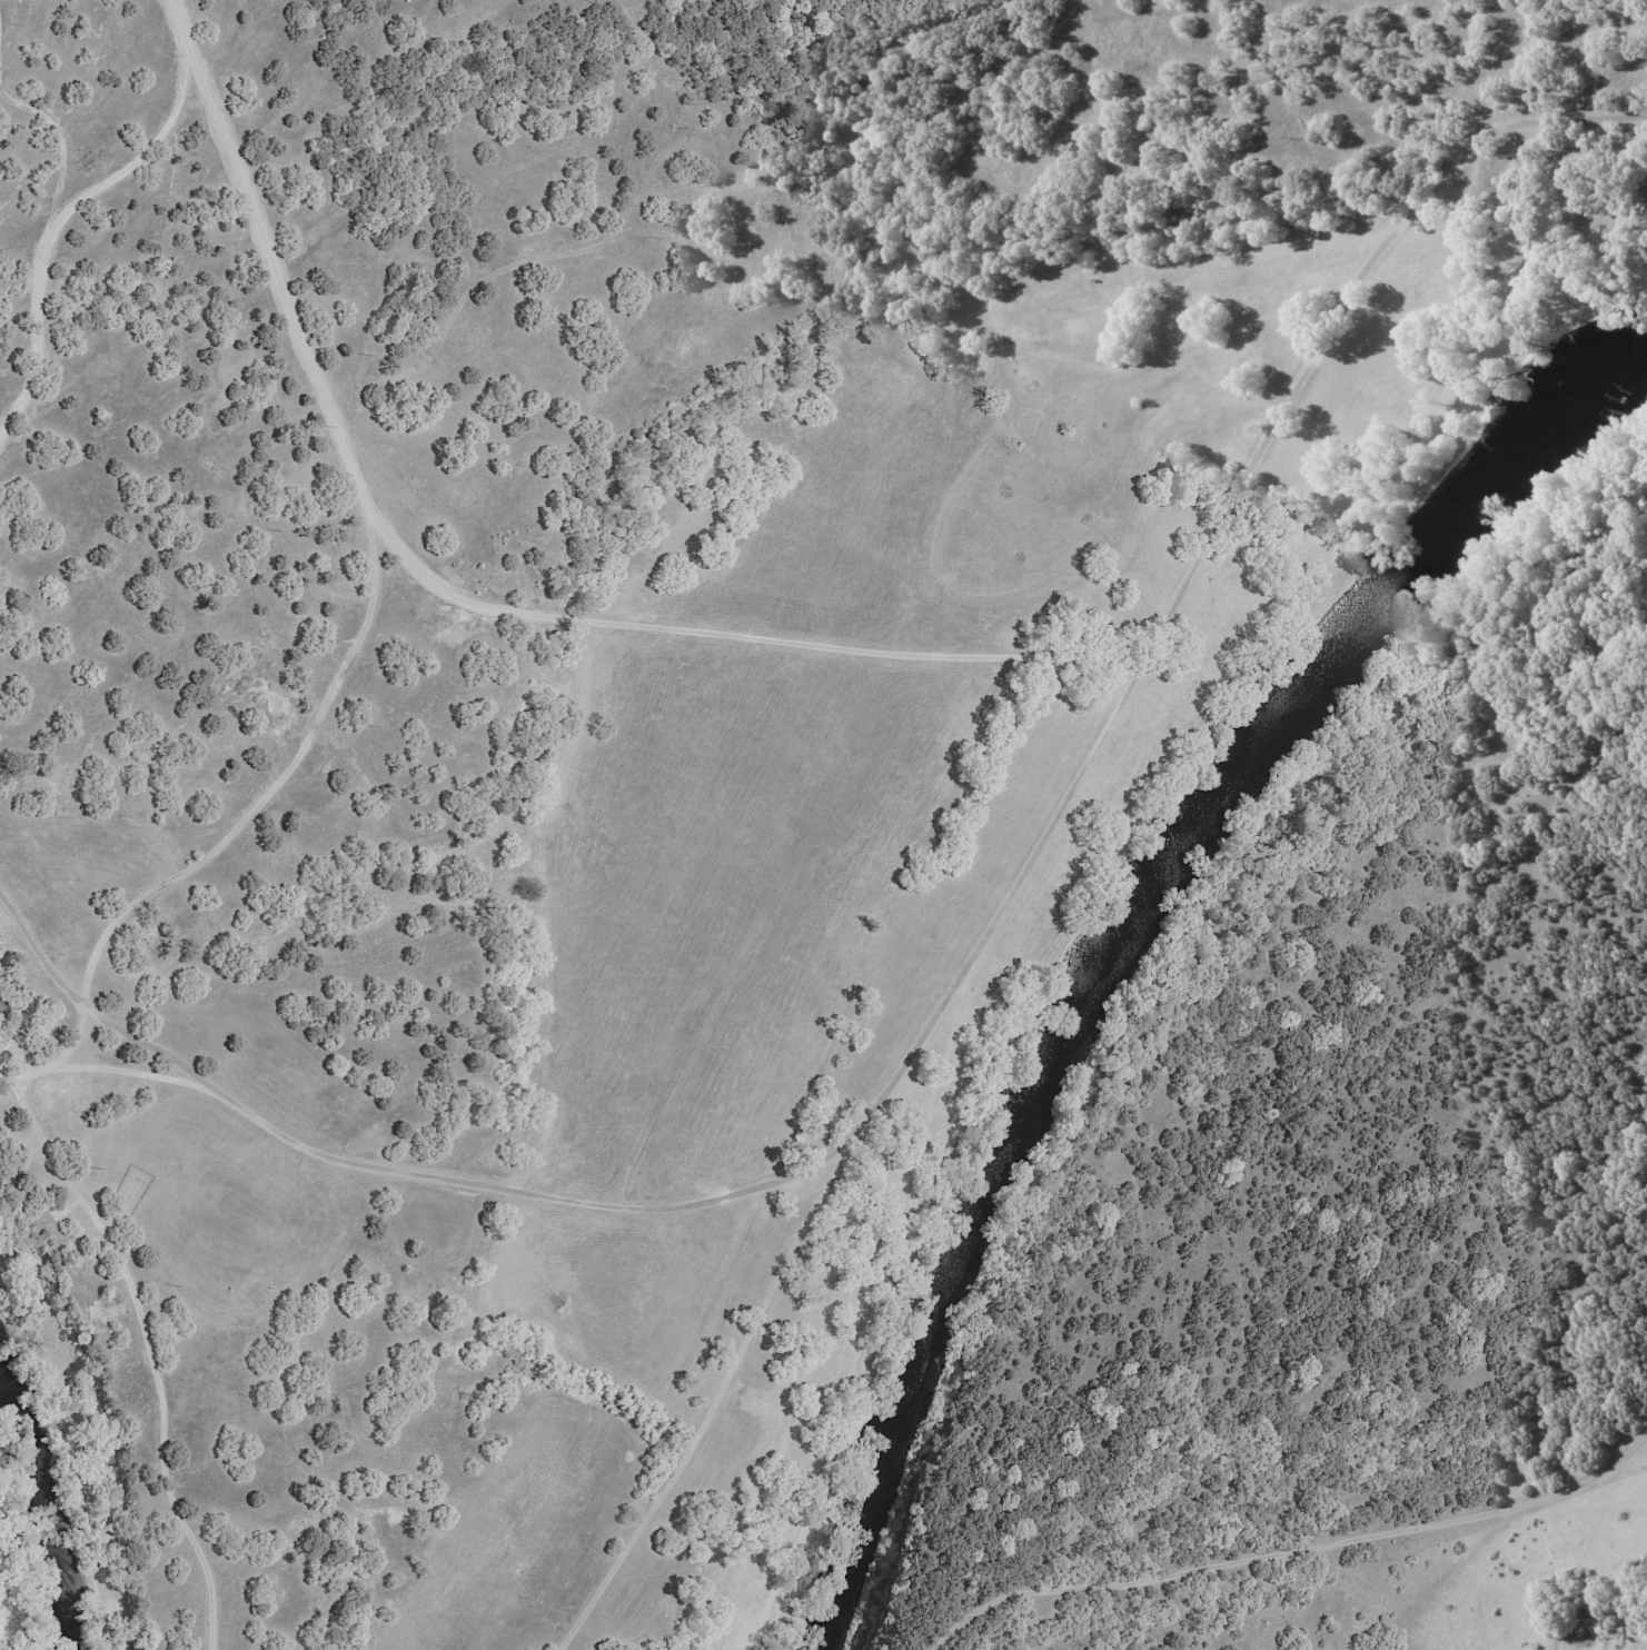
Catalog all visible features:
road: (860, 652)

